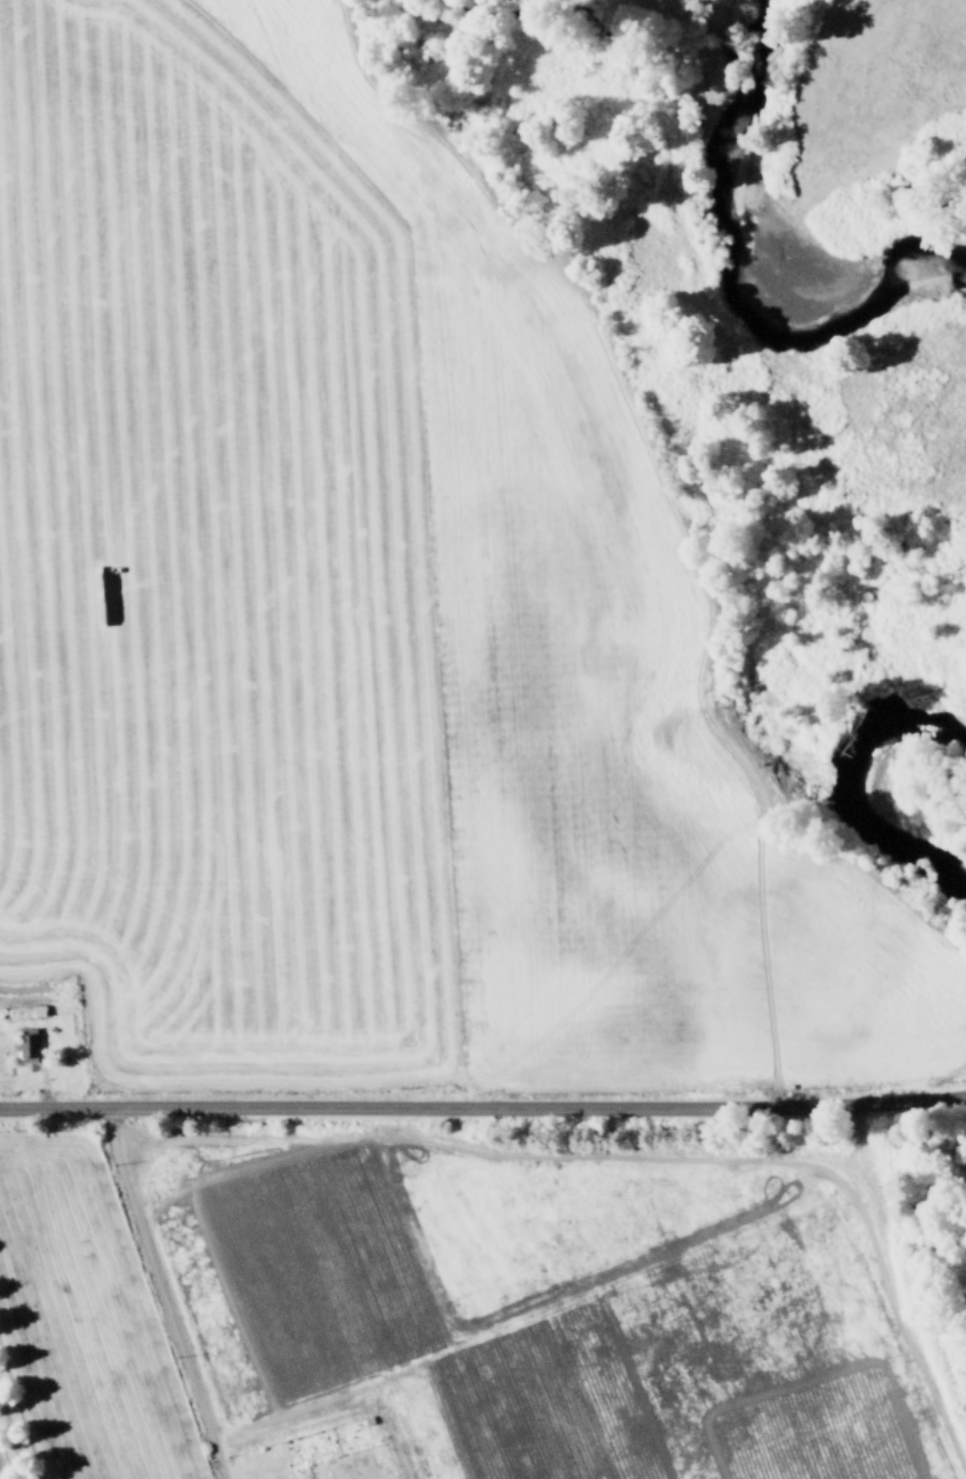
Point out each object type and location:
river: (737, 249)
river: (870, 791)
crop: (384, 844)
building: (26, 1010)
building: (26, 1046)
road: (483, 1105)
road: (166, 1292)
road: (14, 1433)

